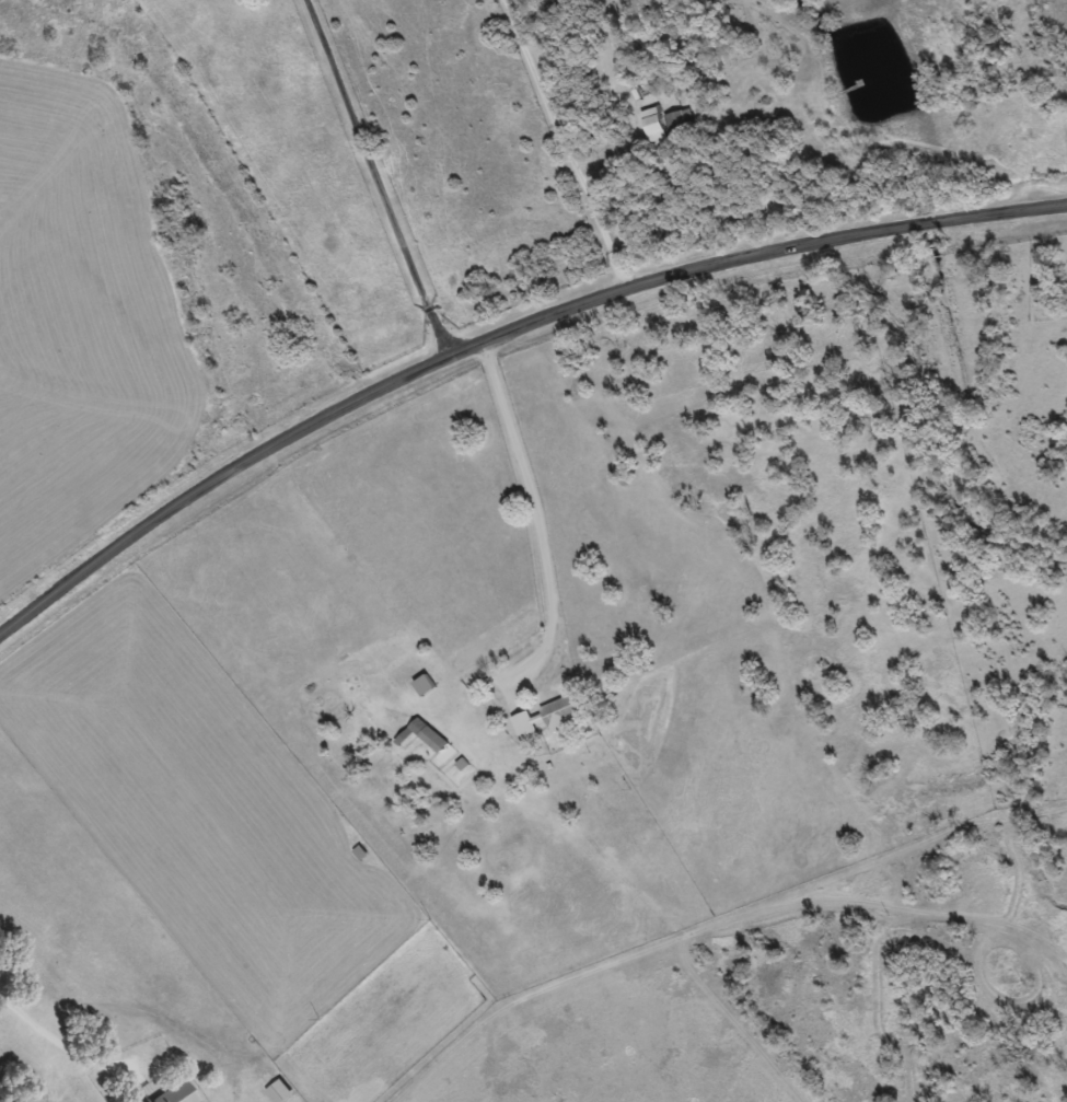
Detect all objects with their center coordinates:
building: (555, 0)
road: (870, 115)
building: (673, 123)
road: (602, 144)
road: (374, 179)
road: (499, 334)
building: (420, 685)
building: (543, 718)
building: (425, 734)
road: (61, 1033)
building: (275, 1091)
building: (173, 1094)

